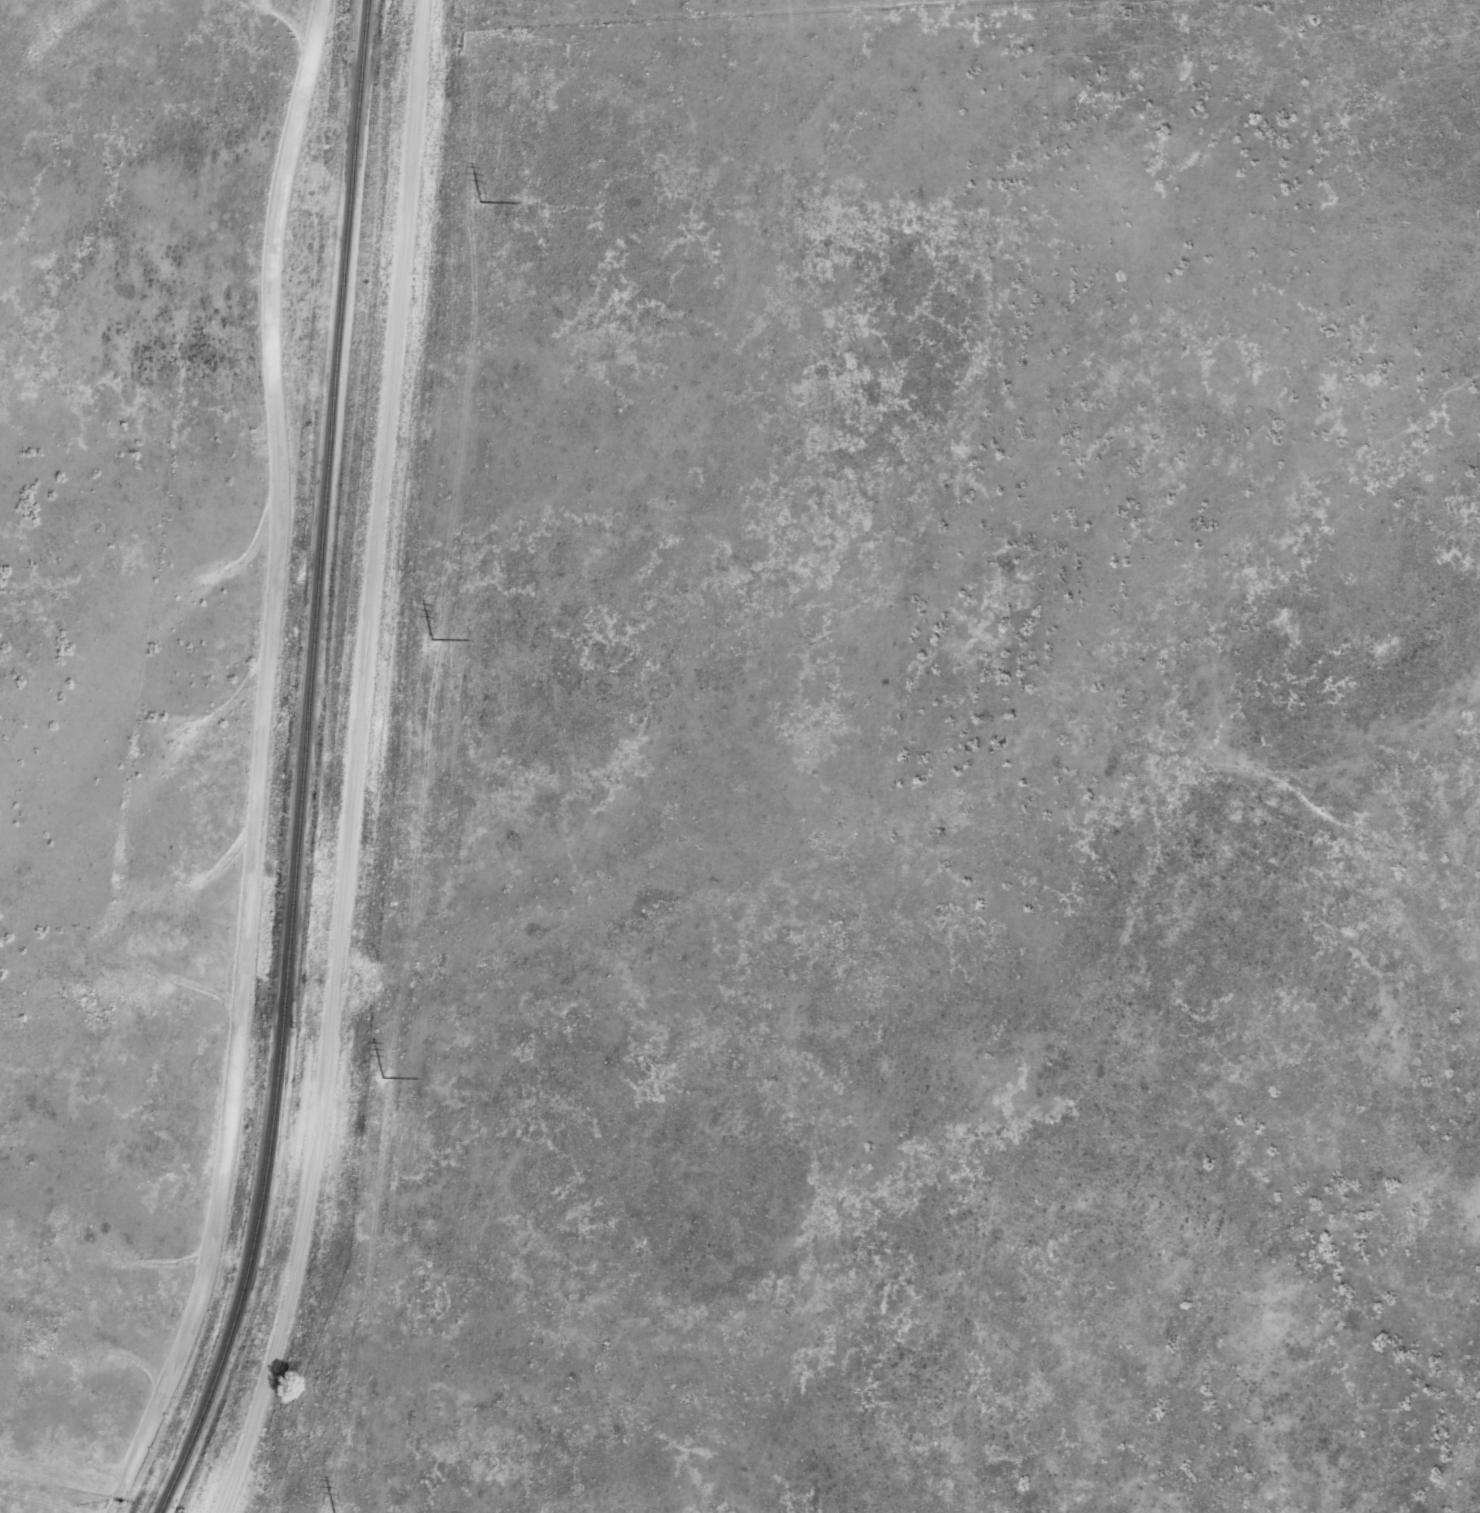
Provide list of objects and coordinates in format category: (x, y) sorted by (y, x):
power tower: (476, 200)
power tower: (428, 637)
road: (359, 763)
railway: (299, 765)
power tower: (379, 1075)
power tower: (330, 1512)

